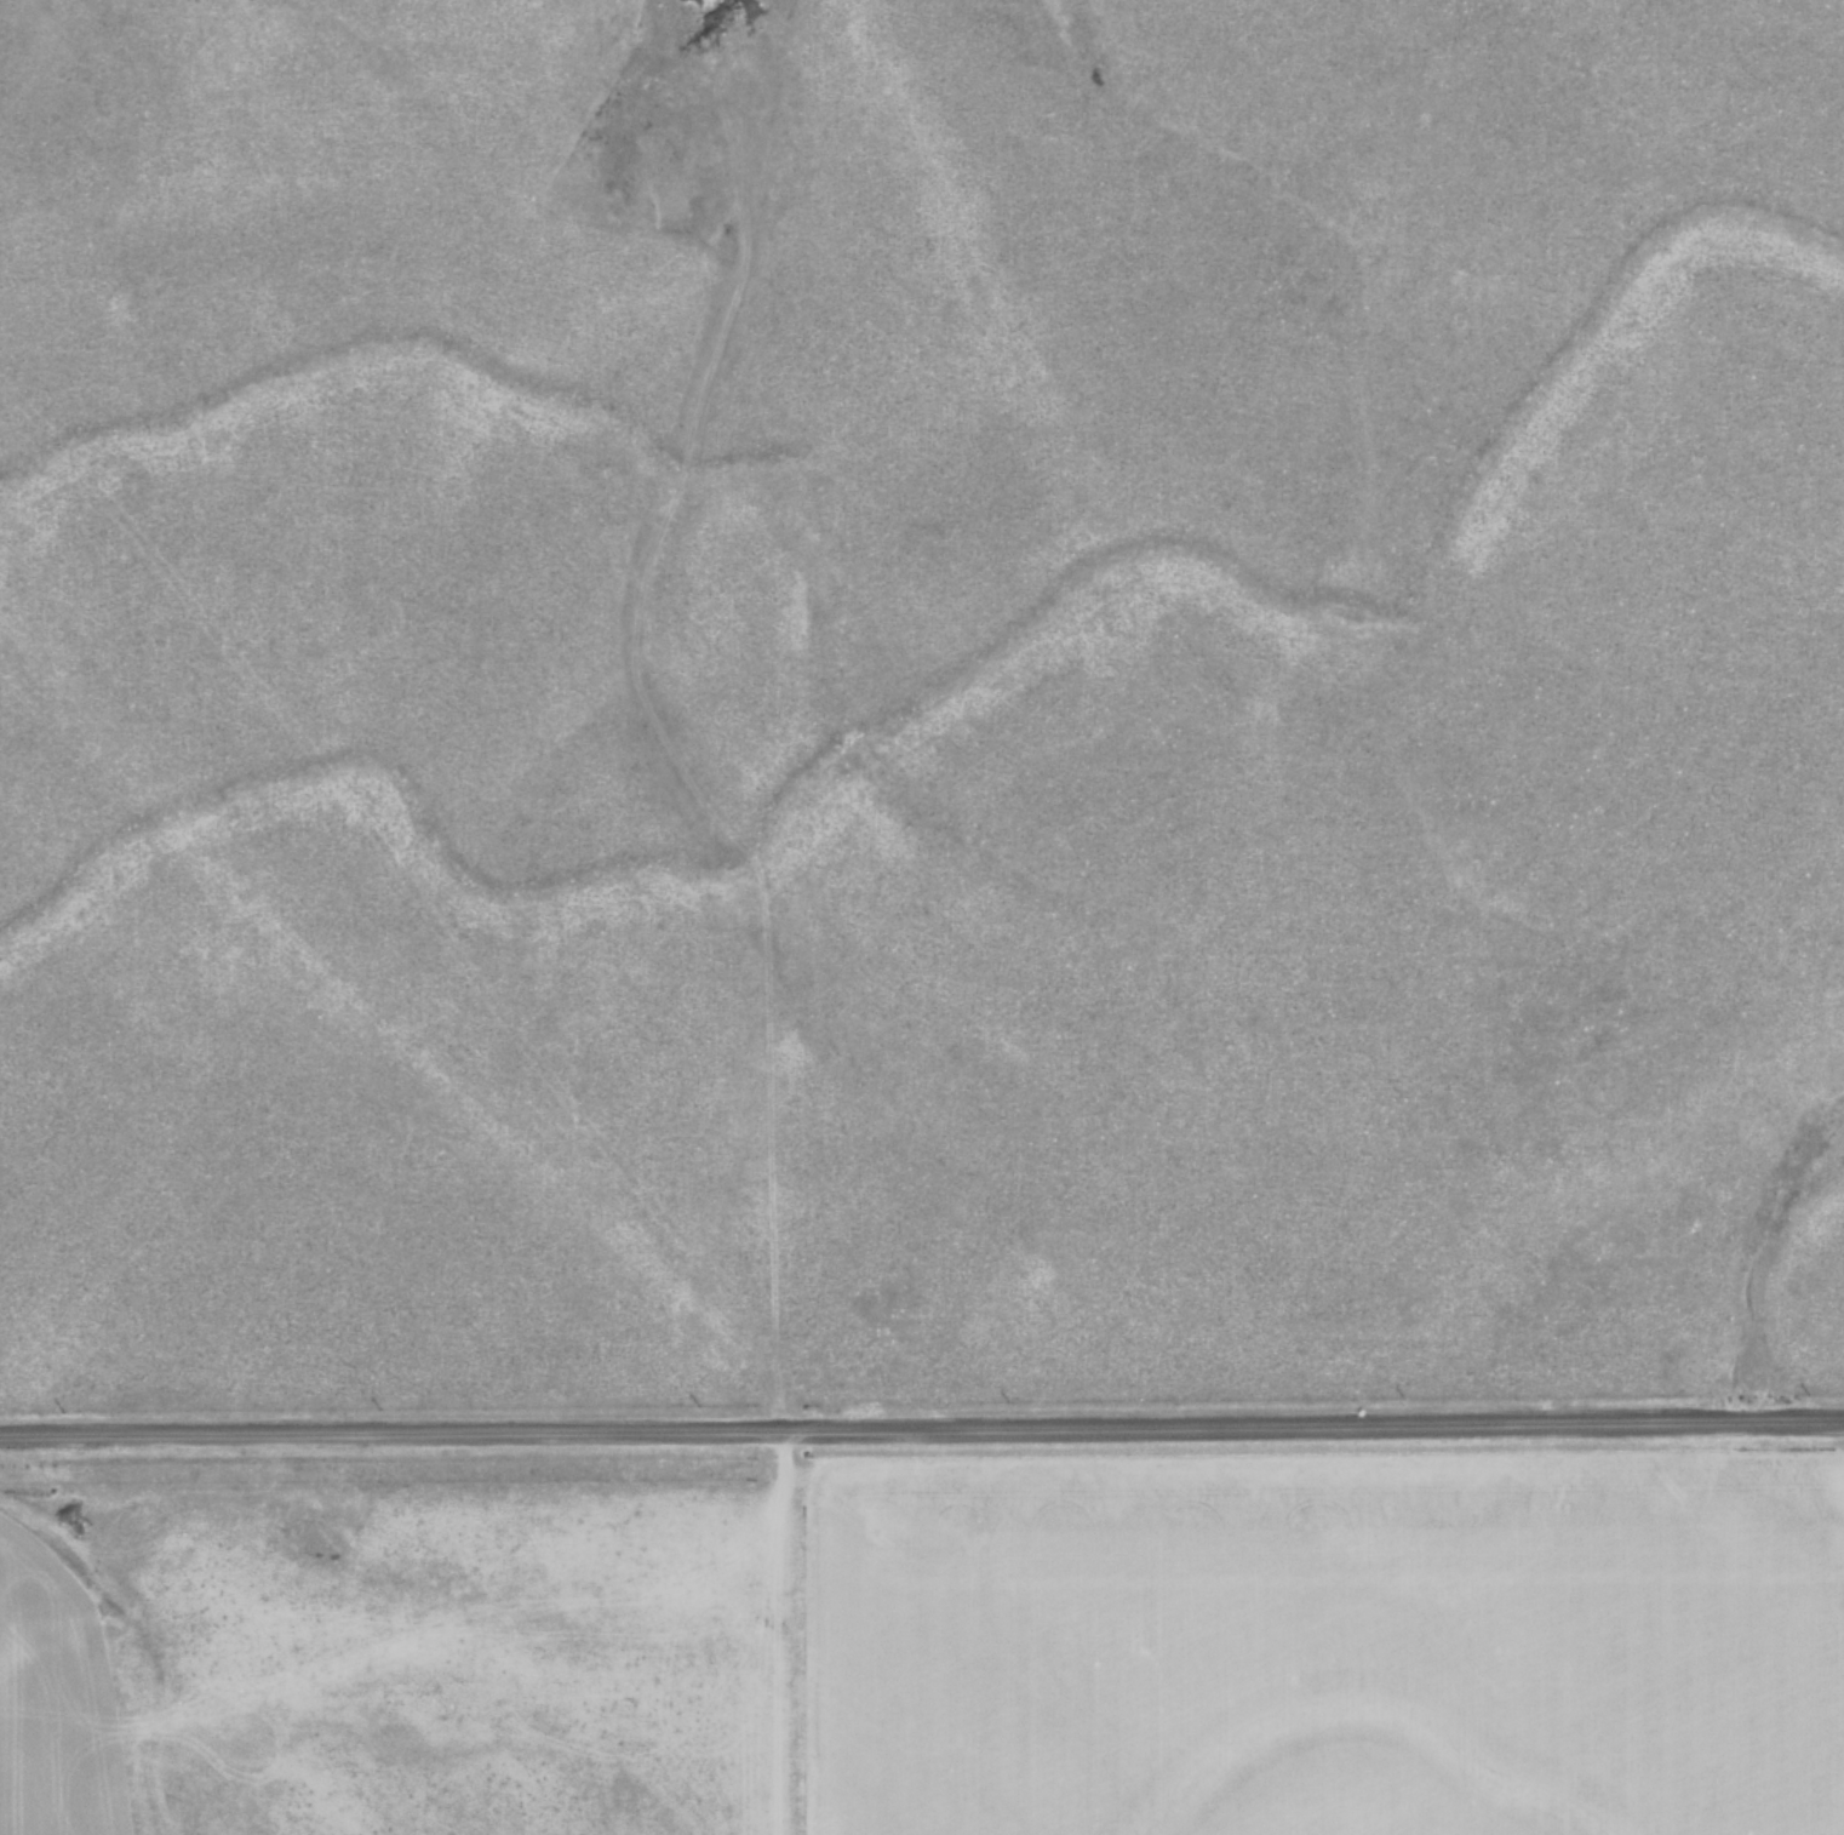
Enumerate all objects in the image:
road: (922, 1428)
crop: (927, 1656)

